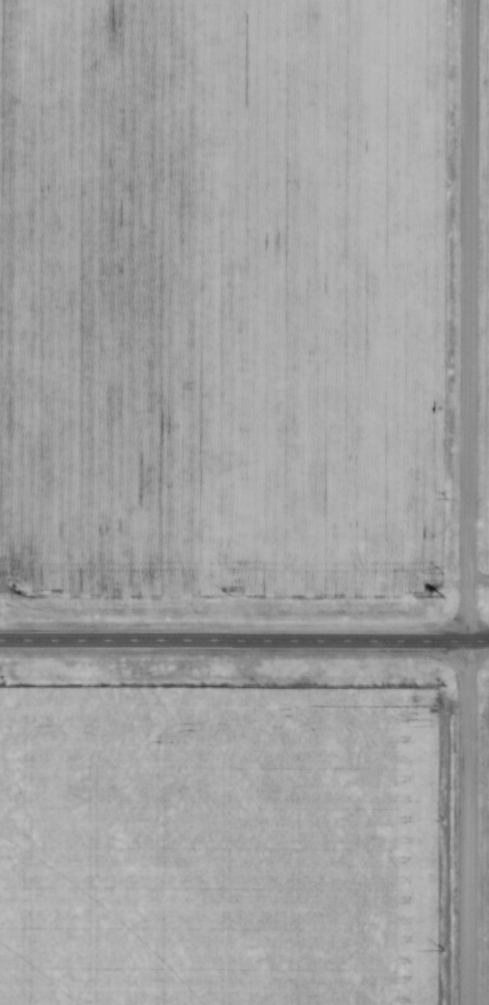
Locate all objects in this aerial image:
road: (470, 321)
road: (244, 643)
road: (470, 824)

